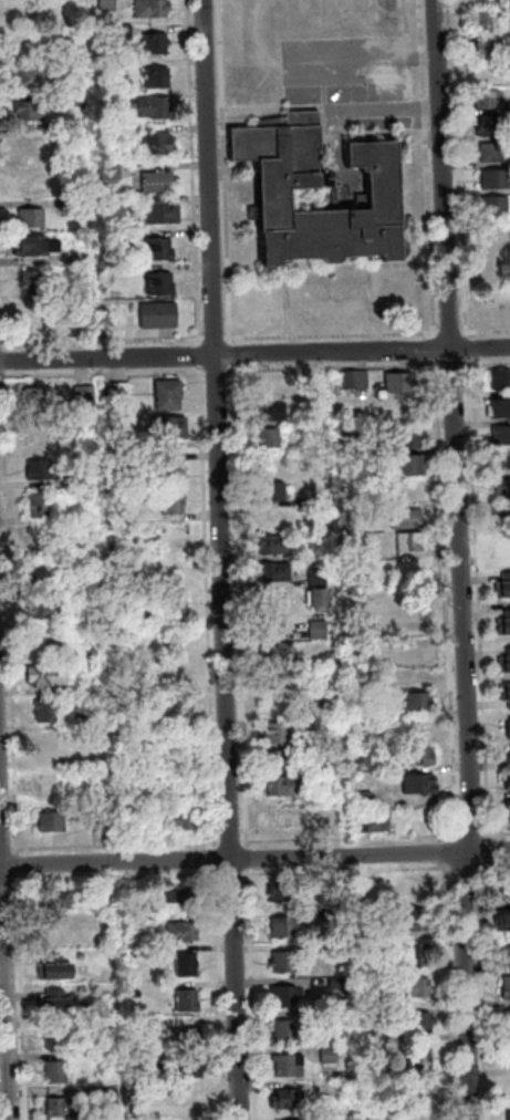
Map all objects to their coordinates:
building: (76, 3)
building: (110, 4)
building: (154, 9)
building: (28, 13)
building: (487, 22)
building: (126, 31)
building: (77, 32)
building: (157, 44)
building: (24, 46)
building: (490, 51)
building: (160, 79)
building: (34, 81)
building: (487, 100)
building: (80, 103)
building: (156, 108)
building: (31, 113)
building: (495, 127)
building: (157, 145)
building: (496, 154)
building: (111, 175)
building: (289, 180)
building: (497, 180)
building: (160, 184)
building: (496, 207)
building: (74, 208)
building: (164, 215)
building: (33, 219)
building: (129, 239)
building: (38, 248)
building: (162, 251)
building: (33, 284)
building: (163, 286)
building: (162, 318)
building: (35, 319)
road: (323, 336)
road: (254, 355)
building: (357, 381)
building: (501, 381)
building: (402, 384)
building: (122, 393)
building: (86, 396)
building: (170, 397)
building: (41, 398)
building: (499, 409)
building: (271, 414)
building: (171, 431)
building: (502, 437)
building: (270, 439)
building: (408, 440)
building: (122, 446)
building: (501, 465)
building: (122, 467)
building: (413, 467)
building: (42, 471)
building: (169, 473)
building: (80, 484)
building: (503, 490)
building: (274, 494)
building: (322, 500)
building: (175, 505)
building: (41, 508)
building: (501, 518)
building: (408, 520)
building: (501, 541)
building: (412, 543)
building: (277, 547)
road: (226, 559)
road: (462, 561)
building: (277, 573)
building: (41, 575)
building: (320, 578)
building: (79, 582)
building: (504, 590)
building: (319, 601)
building: (177, 608)
building: (49, 611)
building: (140, 616)
building: (81, 620)
building: (504, 628)
building: (320, 631)
building: (168, 647)
building: (279, 654)
building: (332, 655)
building: (506, 666)
building: (49, 677)
building: (280, 681)
building: (506, 695)
building: (327, 703)
building: (419, 707)
building: (177, 709)
building: (48, 713)
building: (135, 720)
building: (82, 723)
building: (509, 730)
building: (279, 735)
building: (331, 737)
building: (45, 745)
building: (508, 754)
building: (418, 758)
building: (284, 761)
building: (364, 766)
building: (322, 769)
building: (506, 779)
building: (45, 785)
building: (423, 786)
building: (284, 788)
building: (509, 788)
building: (321, 795)
building: (364, 800)
building: (279, 811)
building: (508, 815)
building: (180, 822)
building: (101, 823)
building: (376, 825)
building: (53, 826)
road: (254, 858)
building: (417, 890)
building: (283, 894)
building: (181, 899)
building: (362, 899)
building: (62, 901)
road: (6, 903)
building: (105, 905)
building: (334, 917)
building: (418, 923)
building: (503, 923)
building: (287, 929)
building: (183, 933)
building: (367, 935)
building: (420, 957)
building: (508, 957)
building: (288, 963)
building: (188, 967)
building: (56, 976)
building: (339, 983)
building: (417, 989)
building: (508, 989)
building: (288, 997)
building: (55, 999)
building: (189, 1003)
building: (58, 1012)
building: (508, 1022)
building: (421, 1023)
building: (290, 1036)
building: (185, 1039)
building: (58, 1040)
building: (331, 1056)
building: (140, 1058)
building: (421, 1060)
building: (509, 1064)
building: (291, 1067)
building: (188, 1071)
building: (59, 1075)
building: (508, 1091)
building: (145, 1095)
building: (111, 1097)
building: (289, 1101)
building: (191, 1102)
building: (64, 1110)

